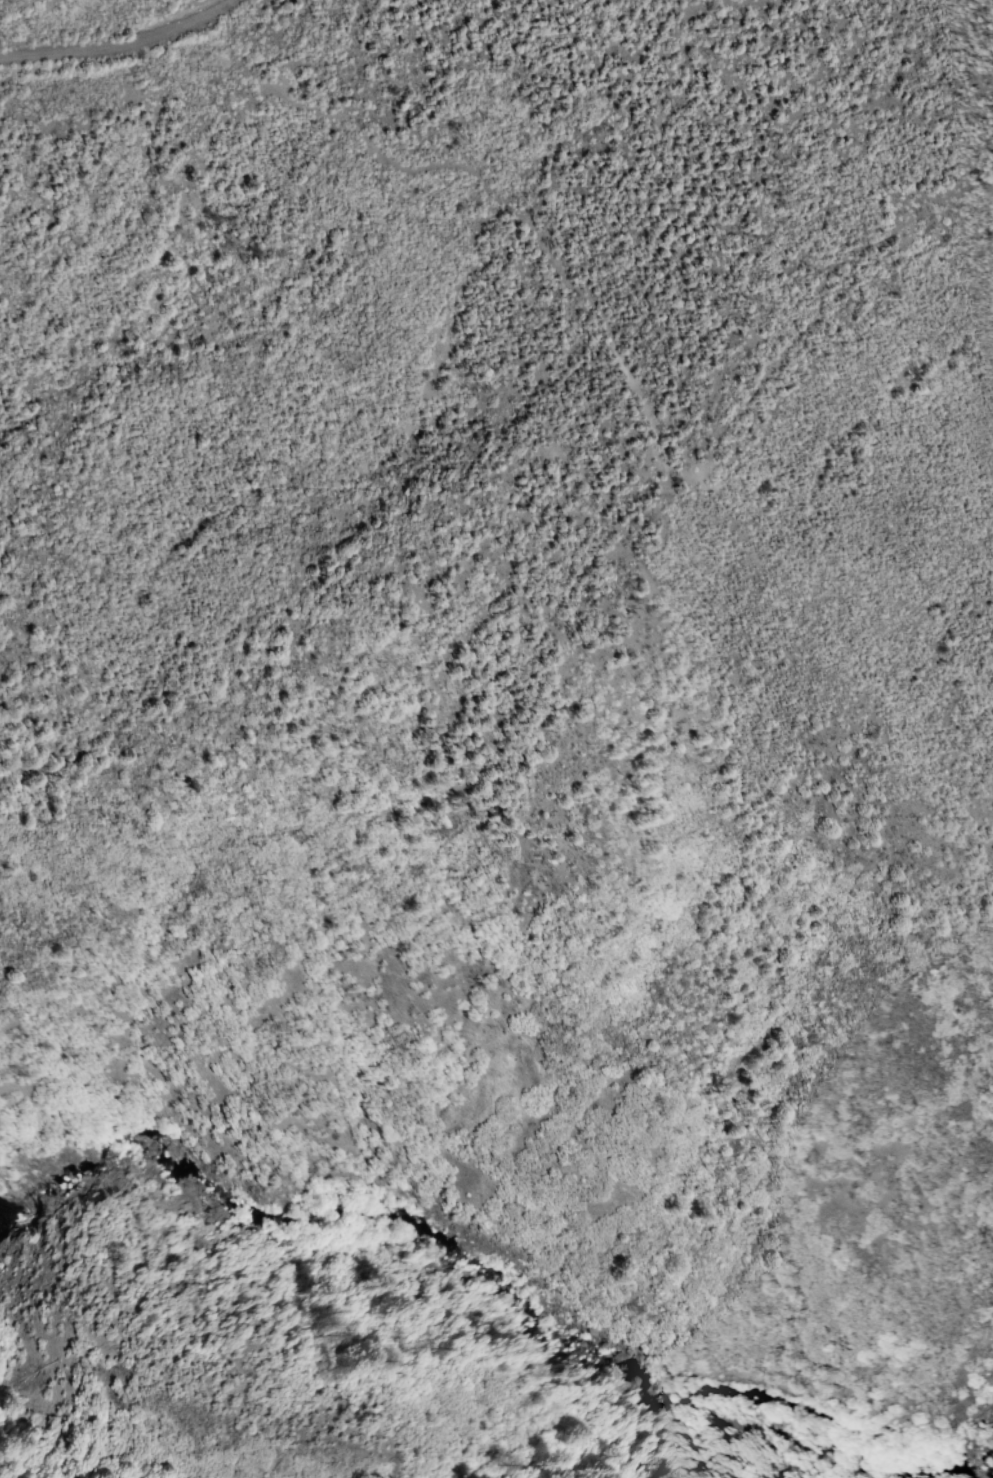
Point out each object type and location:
road: (118, 39)

